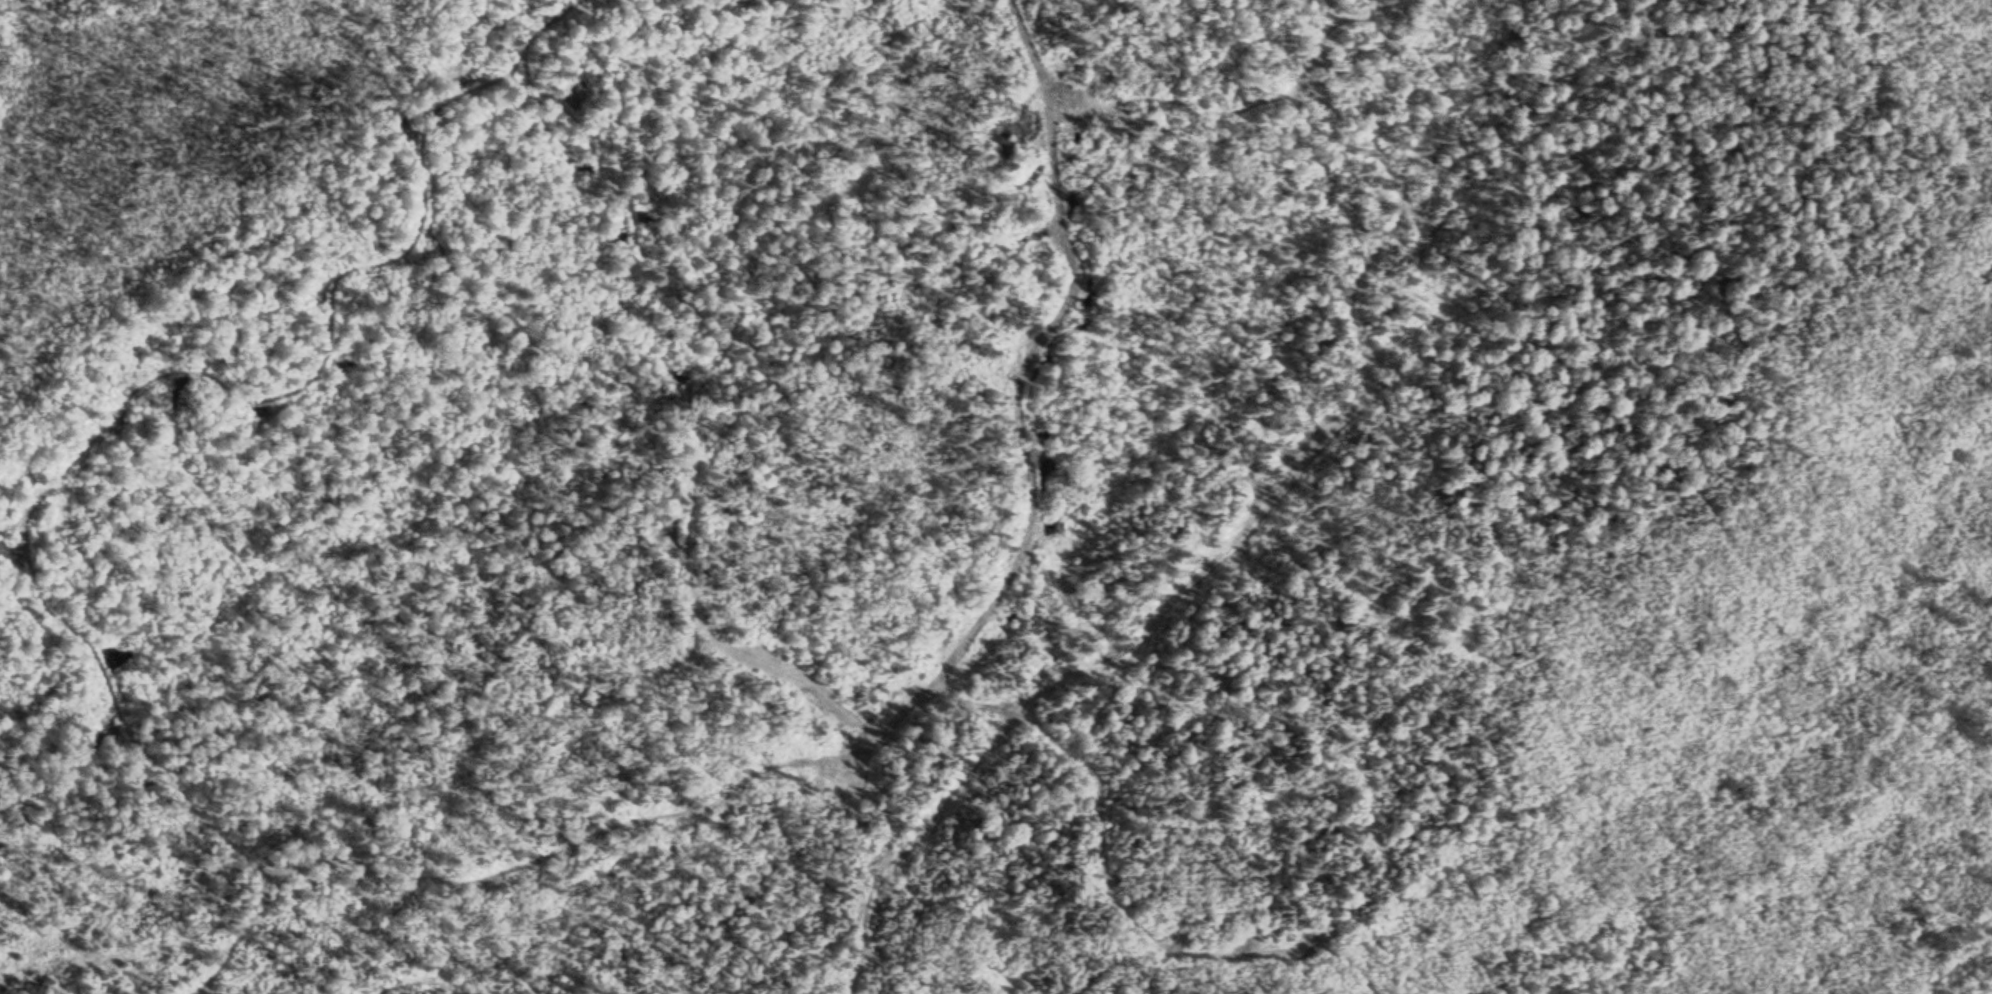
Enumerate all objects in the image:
park: (920, 943)

